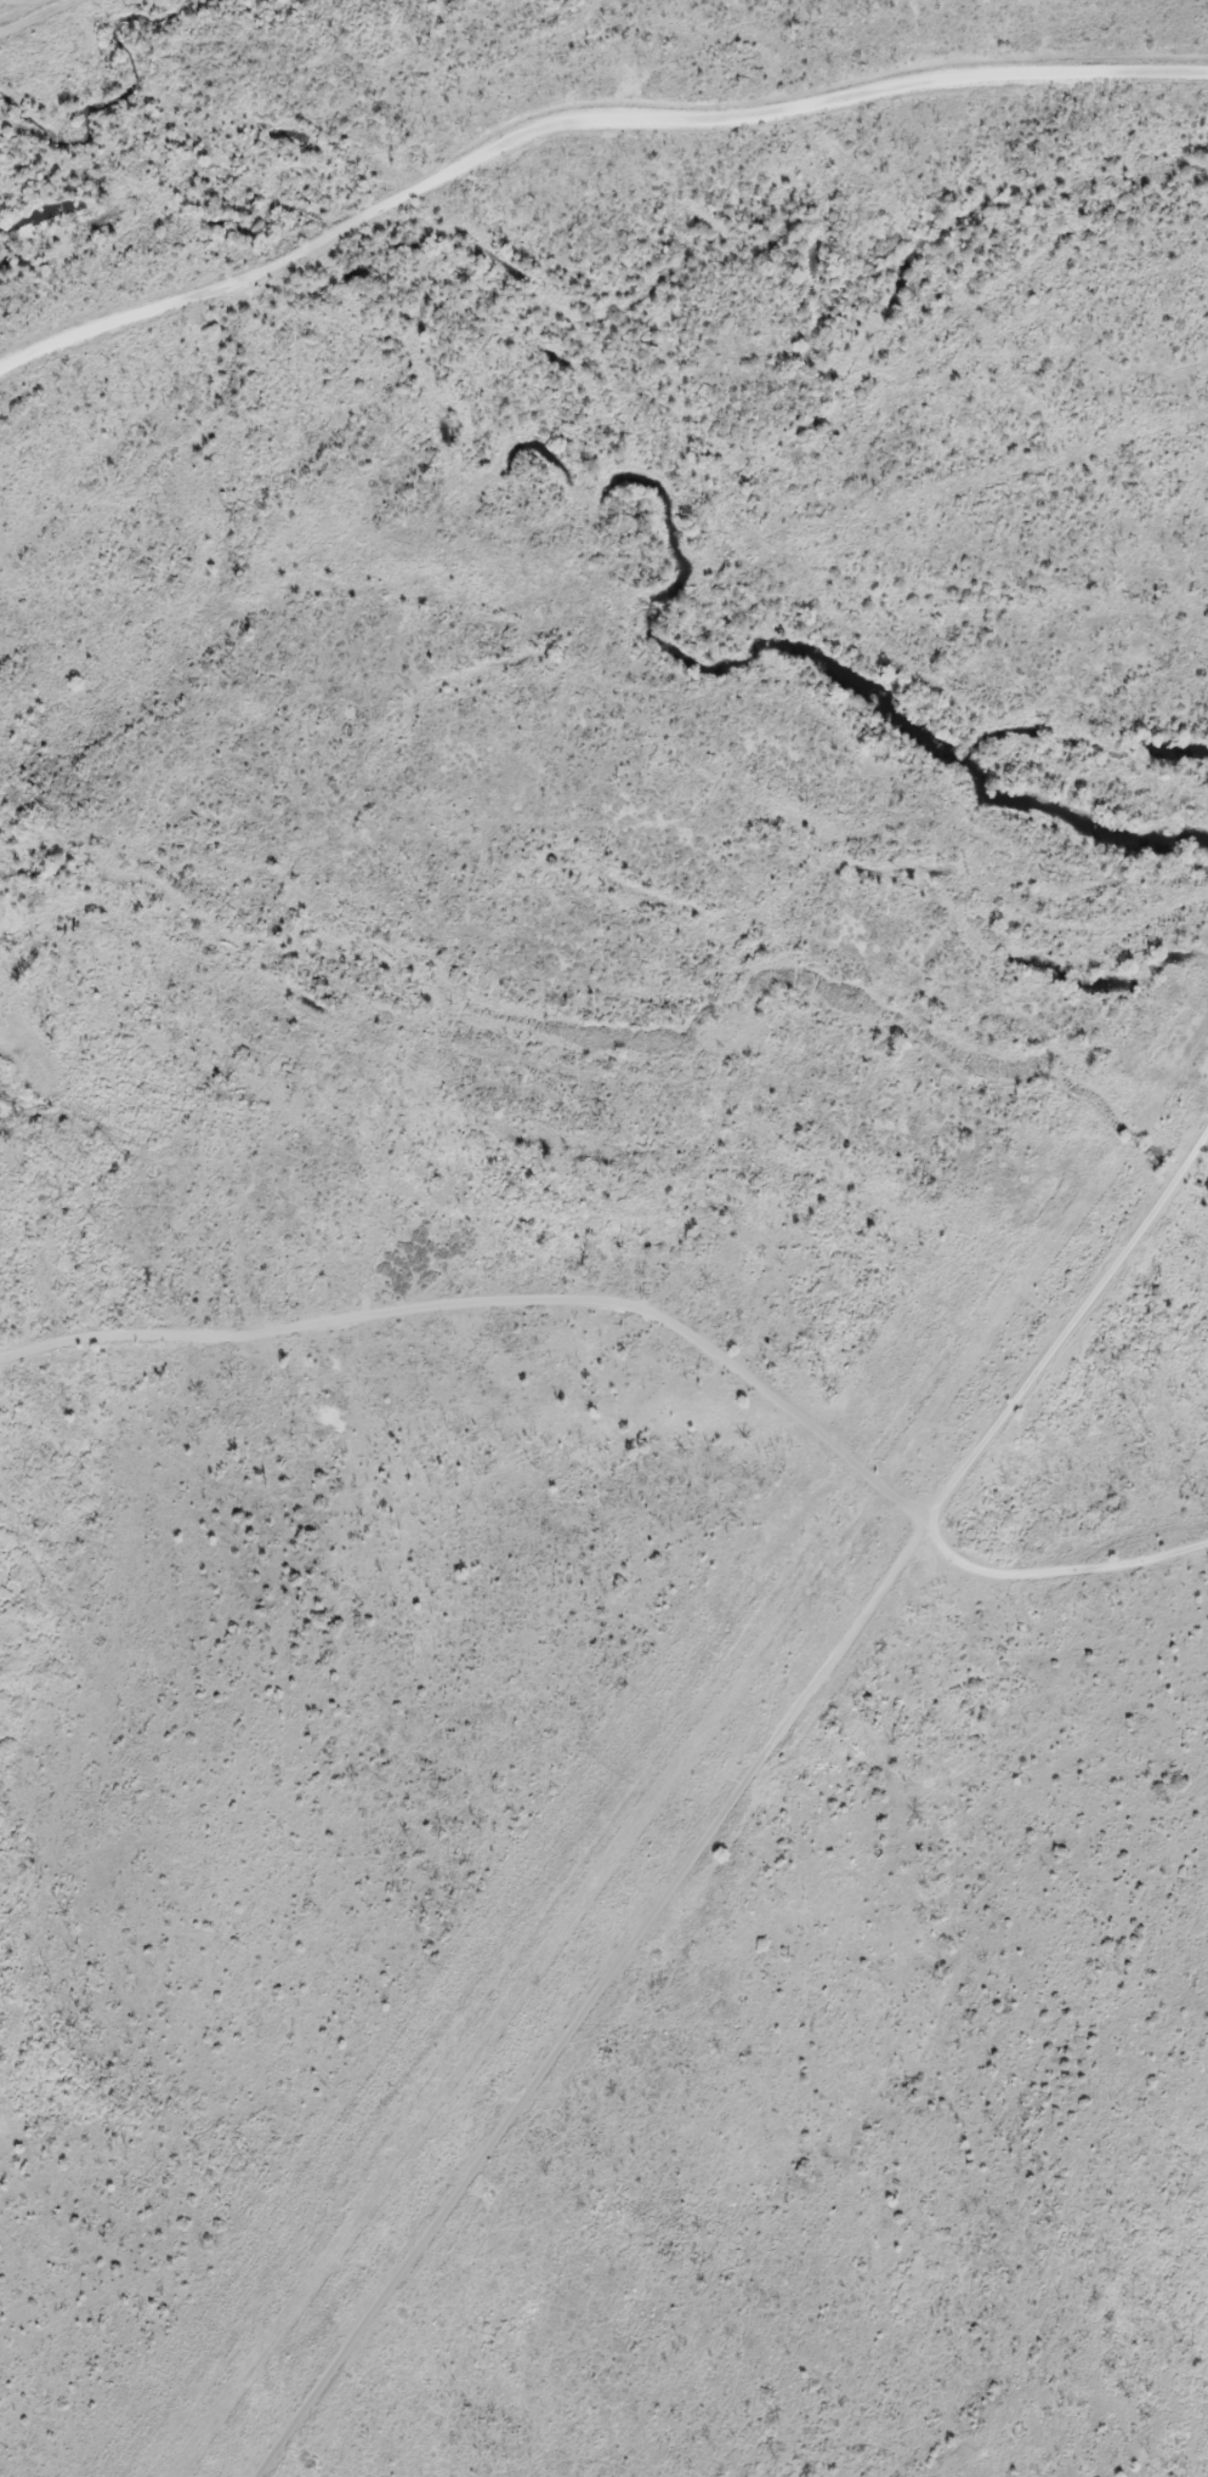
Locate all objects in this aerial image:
road: (578, 120)
road: (970, 1461)

